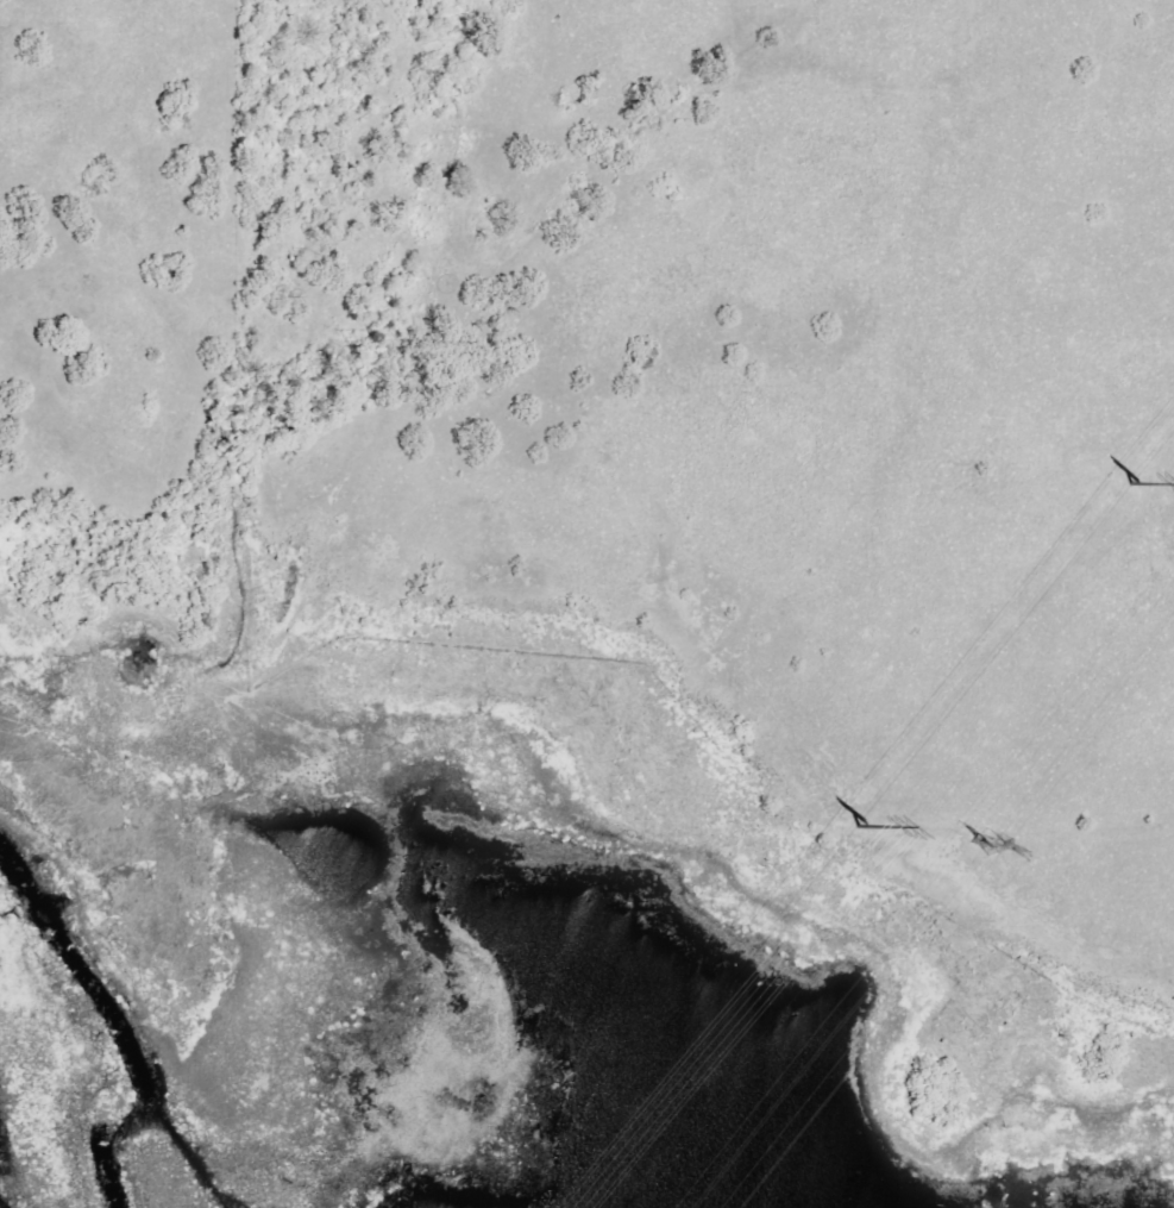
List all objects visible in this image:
power tower: (978, 846)

